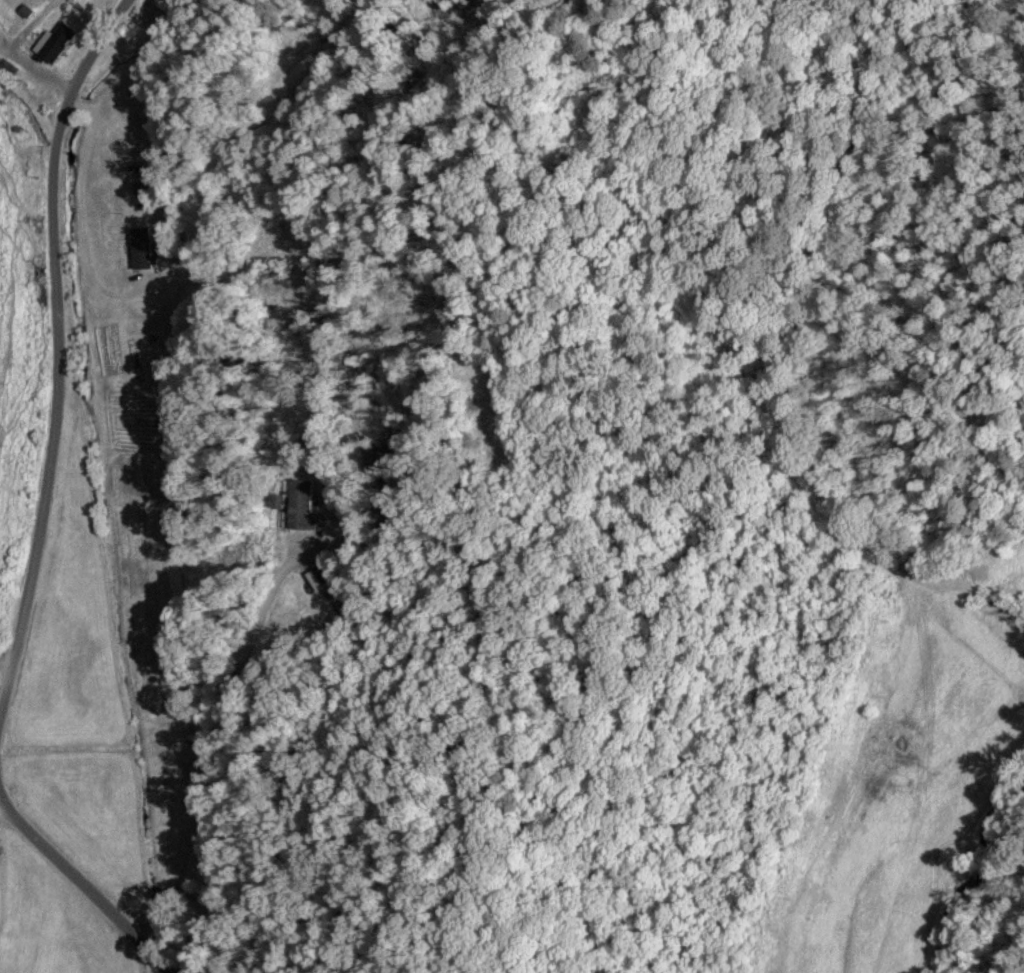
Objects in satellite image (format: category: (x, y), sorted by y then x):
road: (57, 349)
road: (6, 657)
road: (211, 751)
road: (83, 884)

